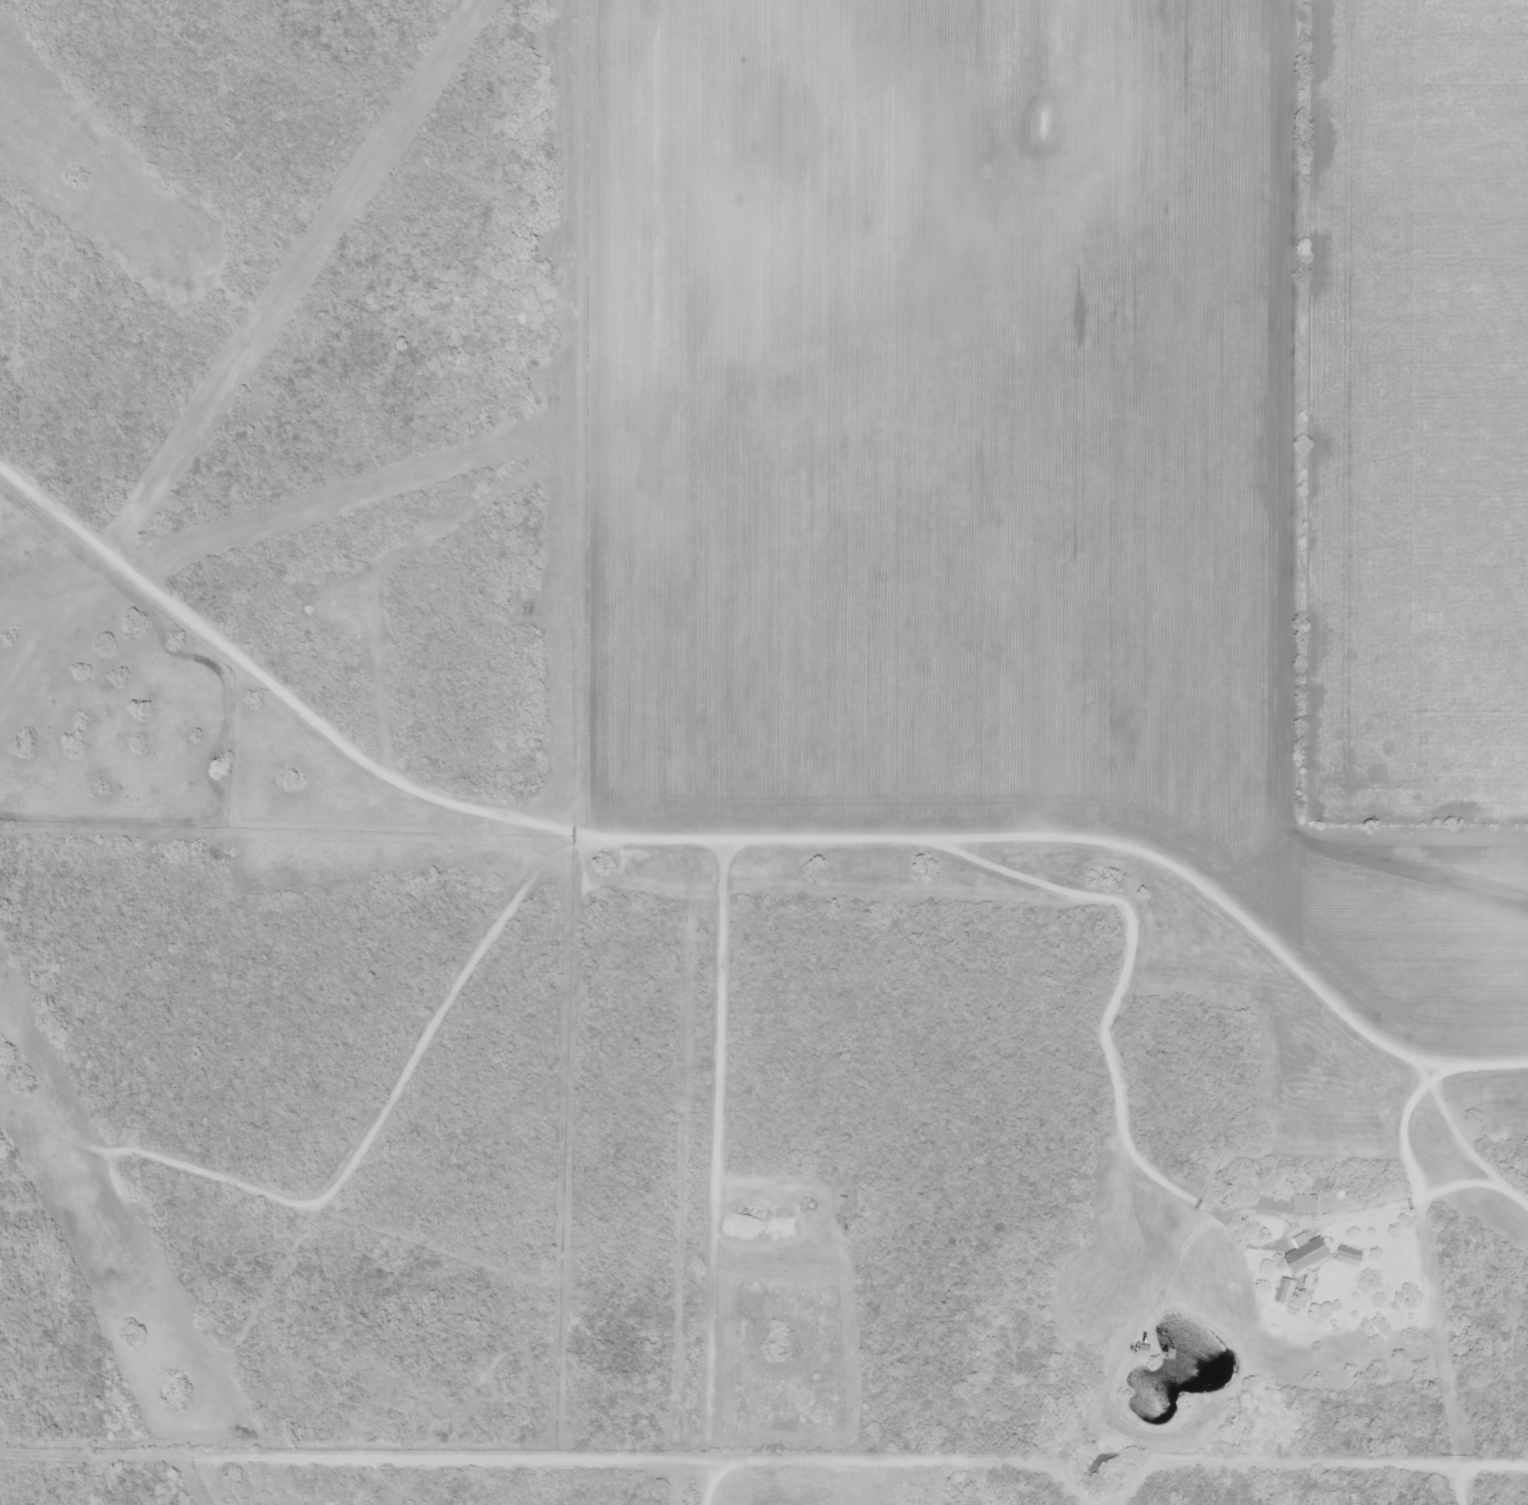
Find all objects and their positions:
building: (1304, 1204)
building: (1306, 1255)
building: (1348, 1256)

